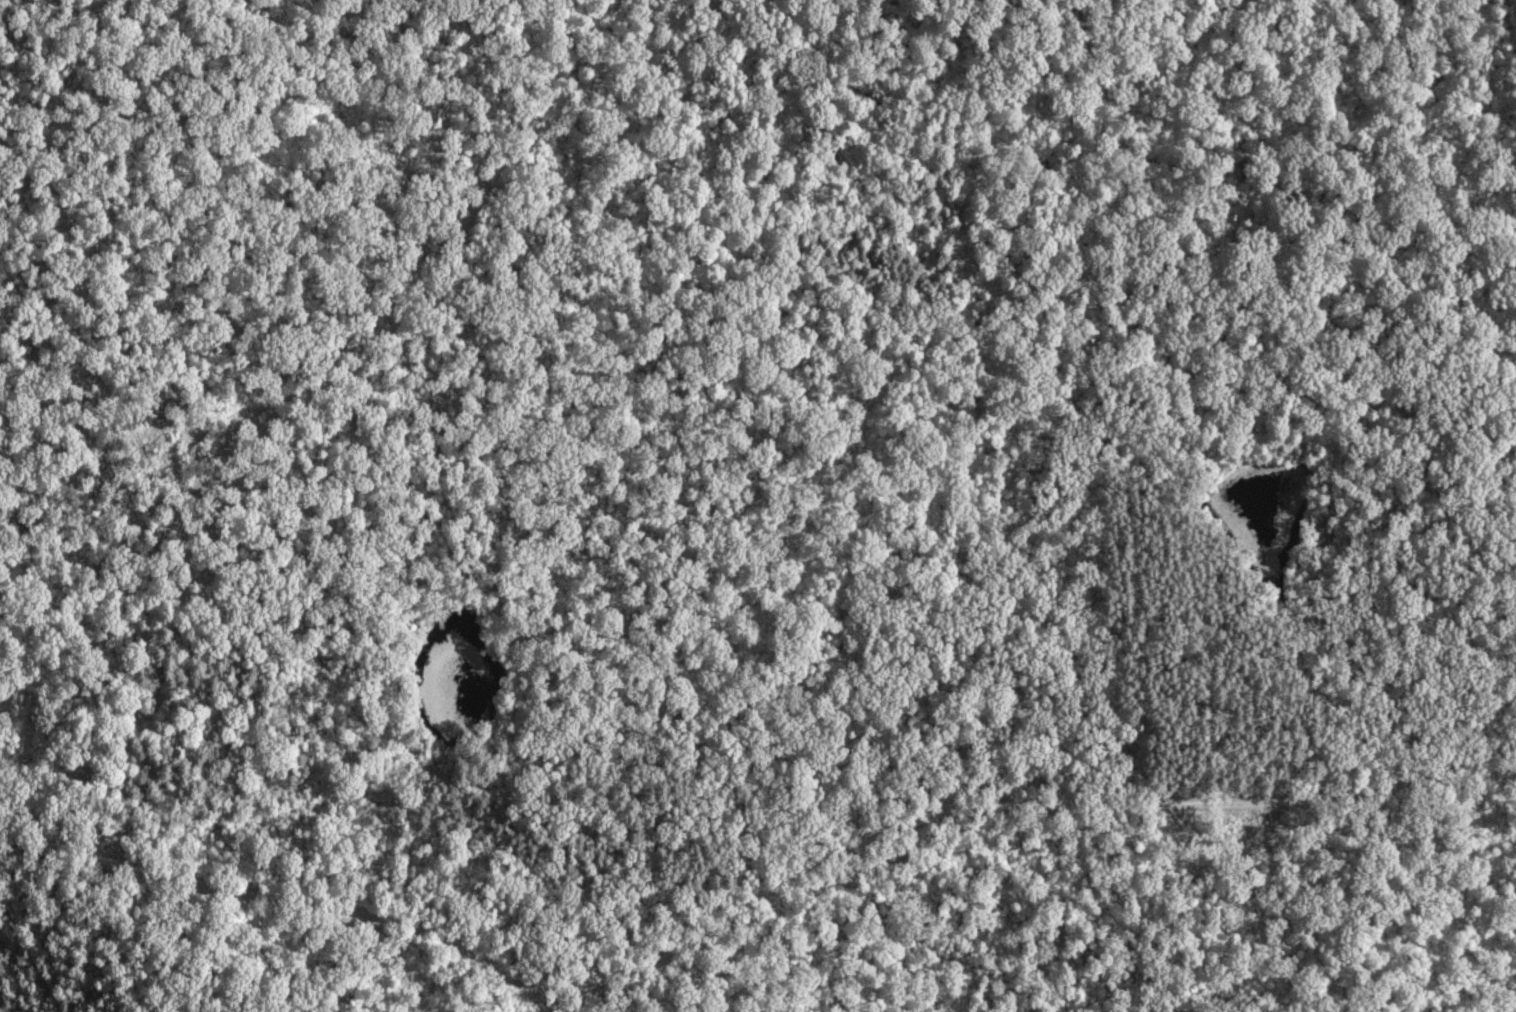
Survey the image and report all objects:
road: (750, 916)

